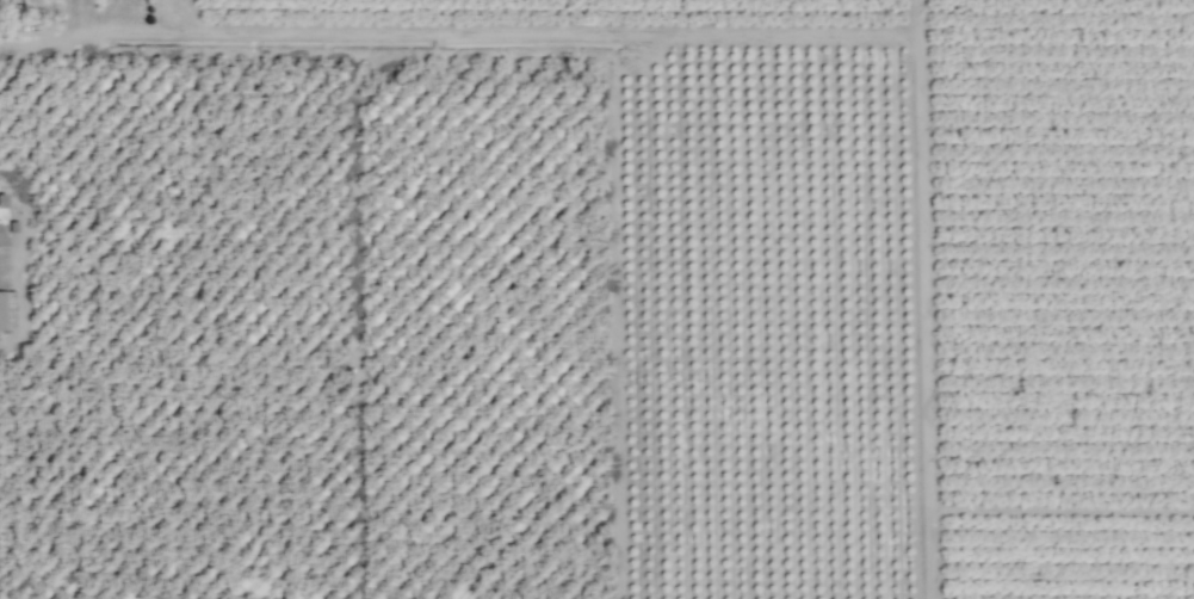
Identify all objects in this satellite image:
building: (1, 235)
railway: (413, 299)
building: (5, 308)

